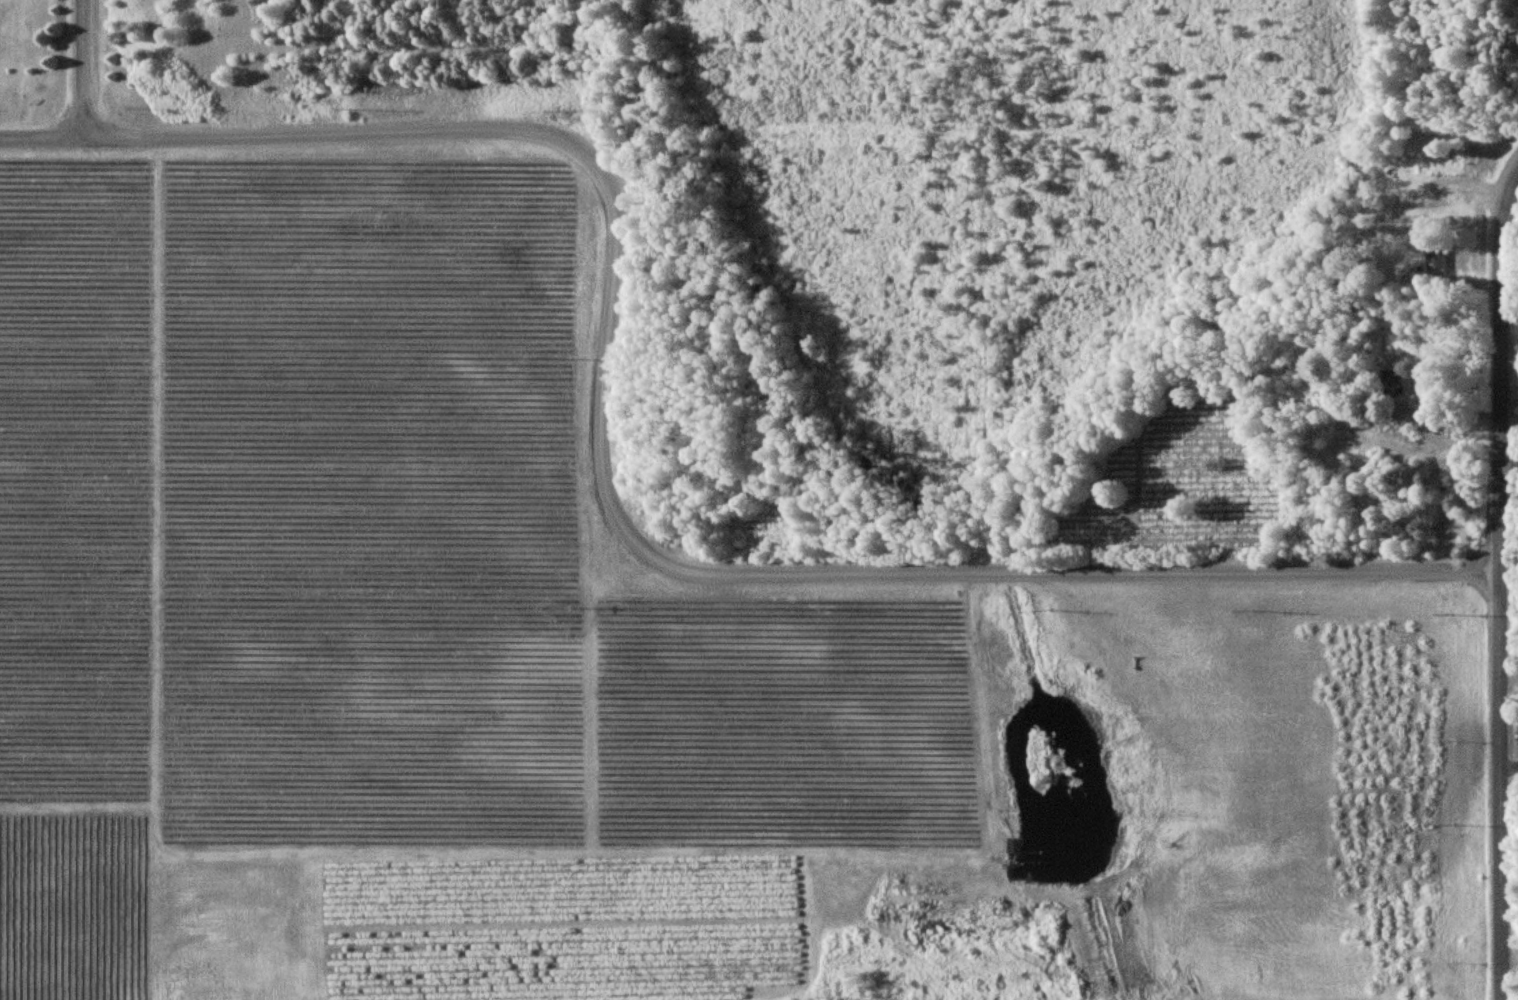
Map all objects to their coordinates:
road: (84, 68)
building: (1435, 261)
road: (1464, 286)
building: (1391, 378)
road: (606, 482)
road: (1502, 589)
road: (1510, 958)

